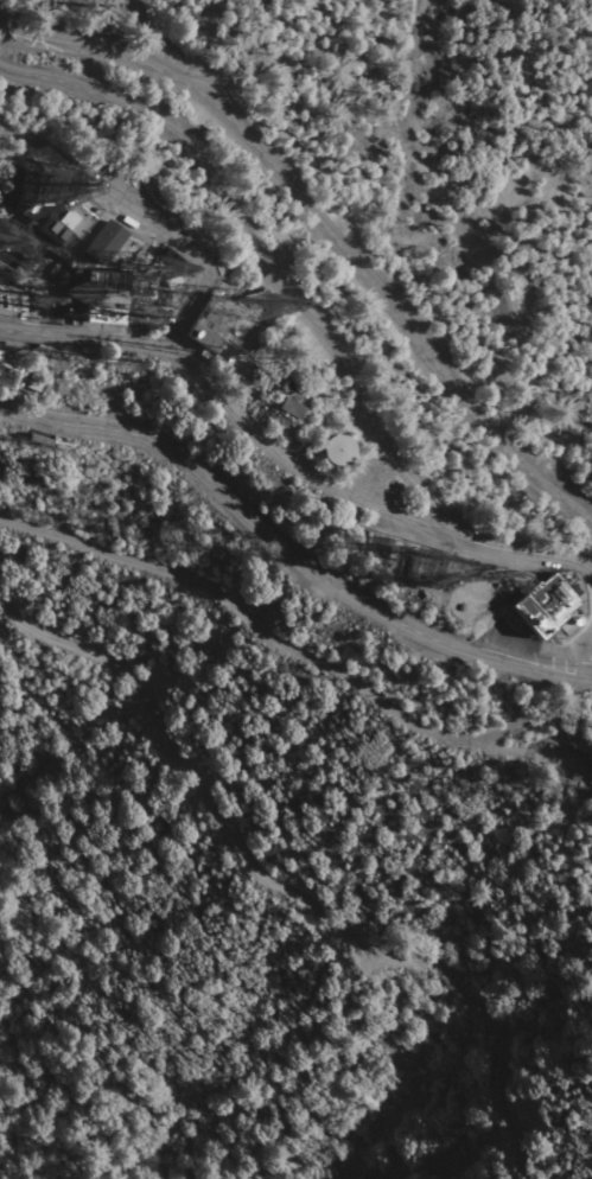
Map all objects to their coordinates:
road: (440, 146)
building: (0, 196)
building: (13, 202)
building: (65, 221)
road: (323, 232)
building: (106, 241)
building: (20, 242)
building: (141, 247)
road: (261, 262)
road: (202, 286)
building: (114, 293)
building: (12, 300)
building: (221, 321)
road: (82, 338)
building: (9, 368)
building: (259, 403)
building: (291, 407)
building: (49, 440)
building: (308, 447)
building: (338, 448)
road: (356, 498)
road: (287, 554)
building: (545, 604)
road: (247, 619)
road: (535, 720)
road: (503, 751)
road: (287, 891)

